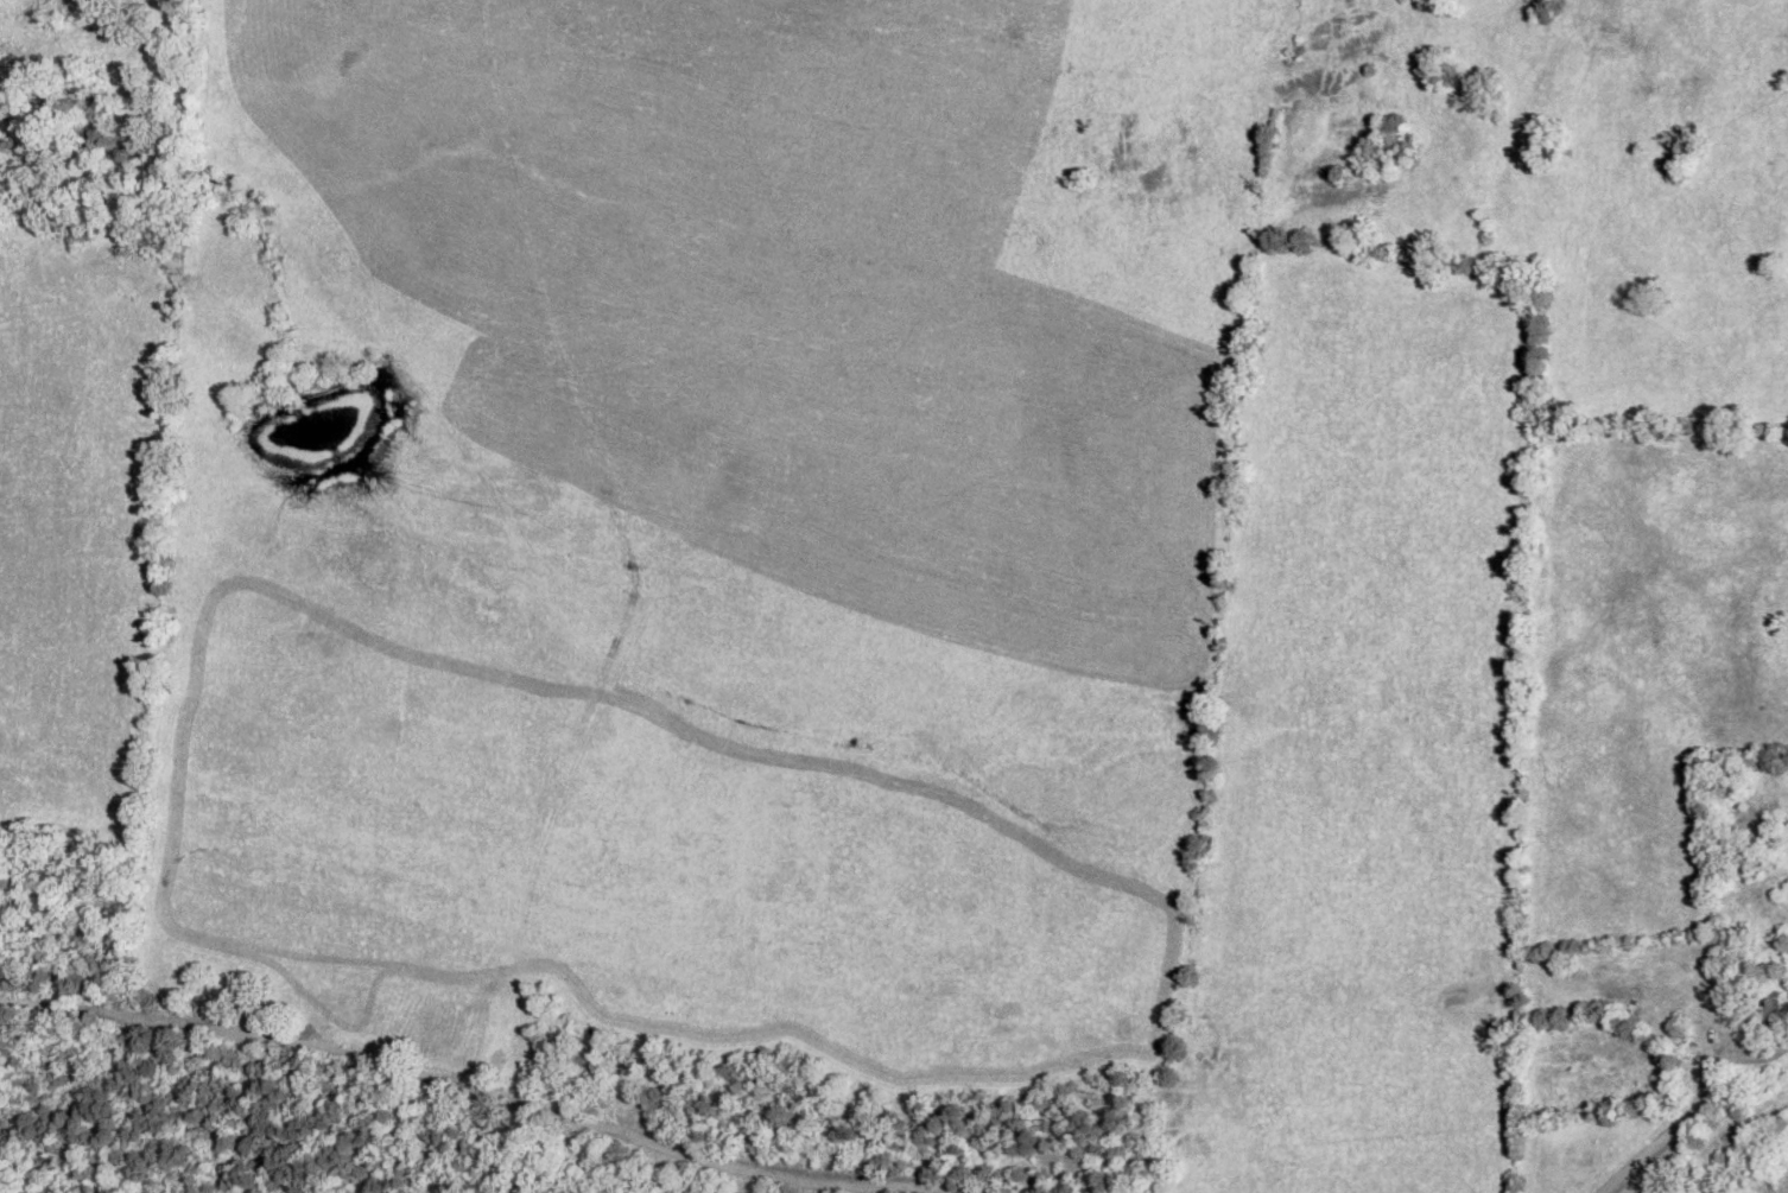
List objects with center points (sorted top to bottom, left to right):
road: (446, 1081)
road: (1691, 1105)

